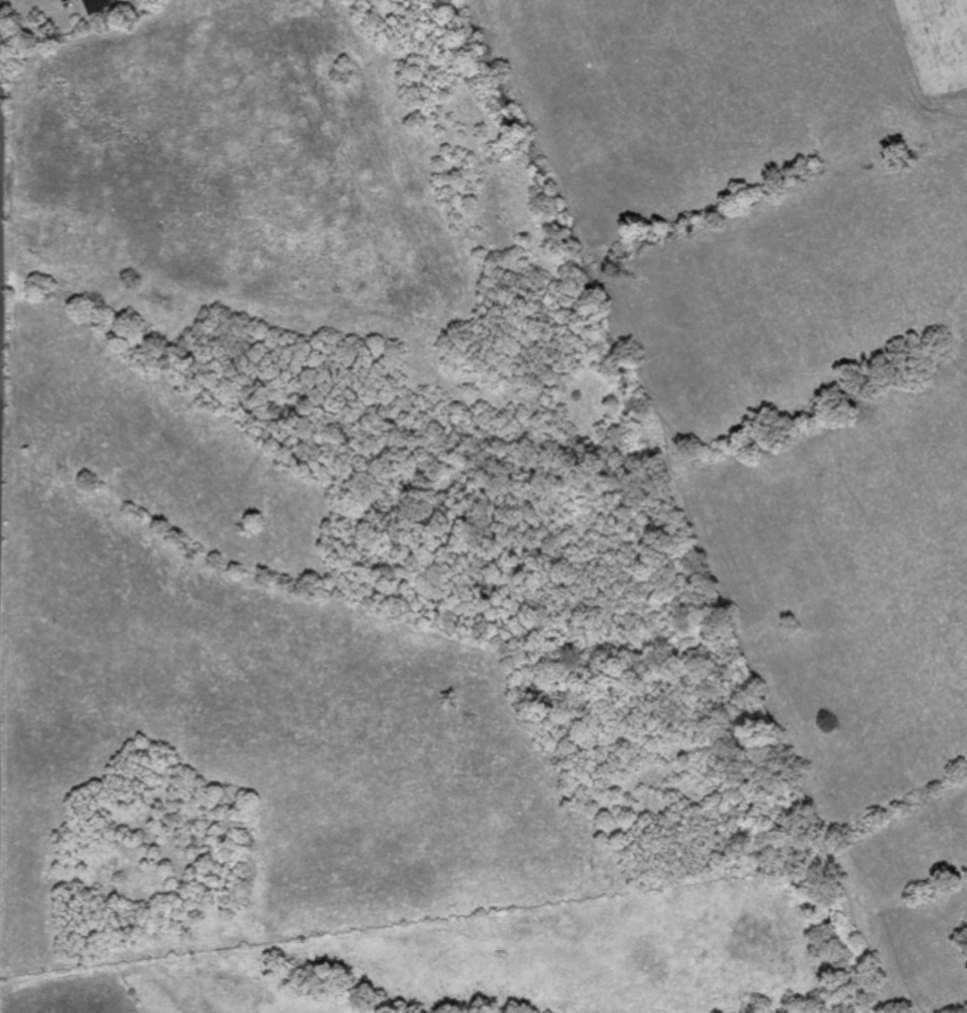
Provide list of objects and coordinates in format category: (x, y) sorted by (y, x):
building: (94, 5)
road: (2, 208)

